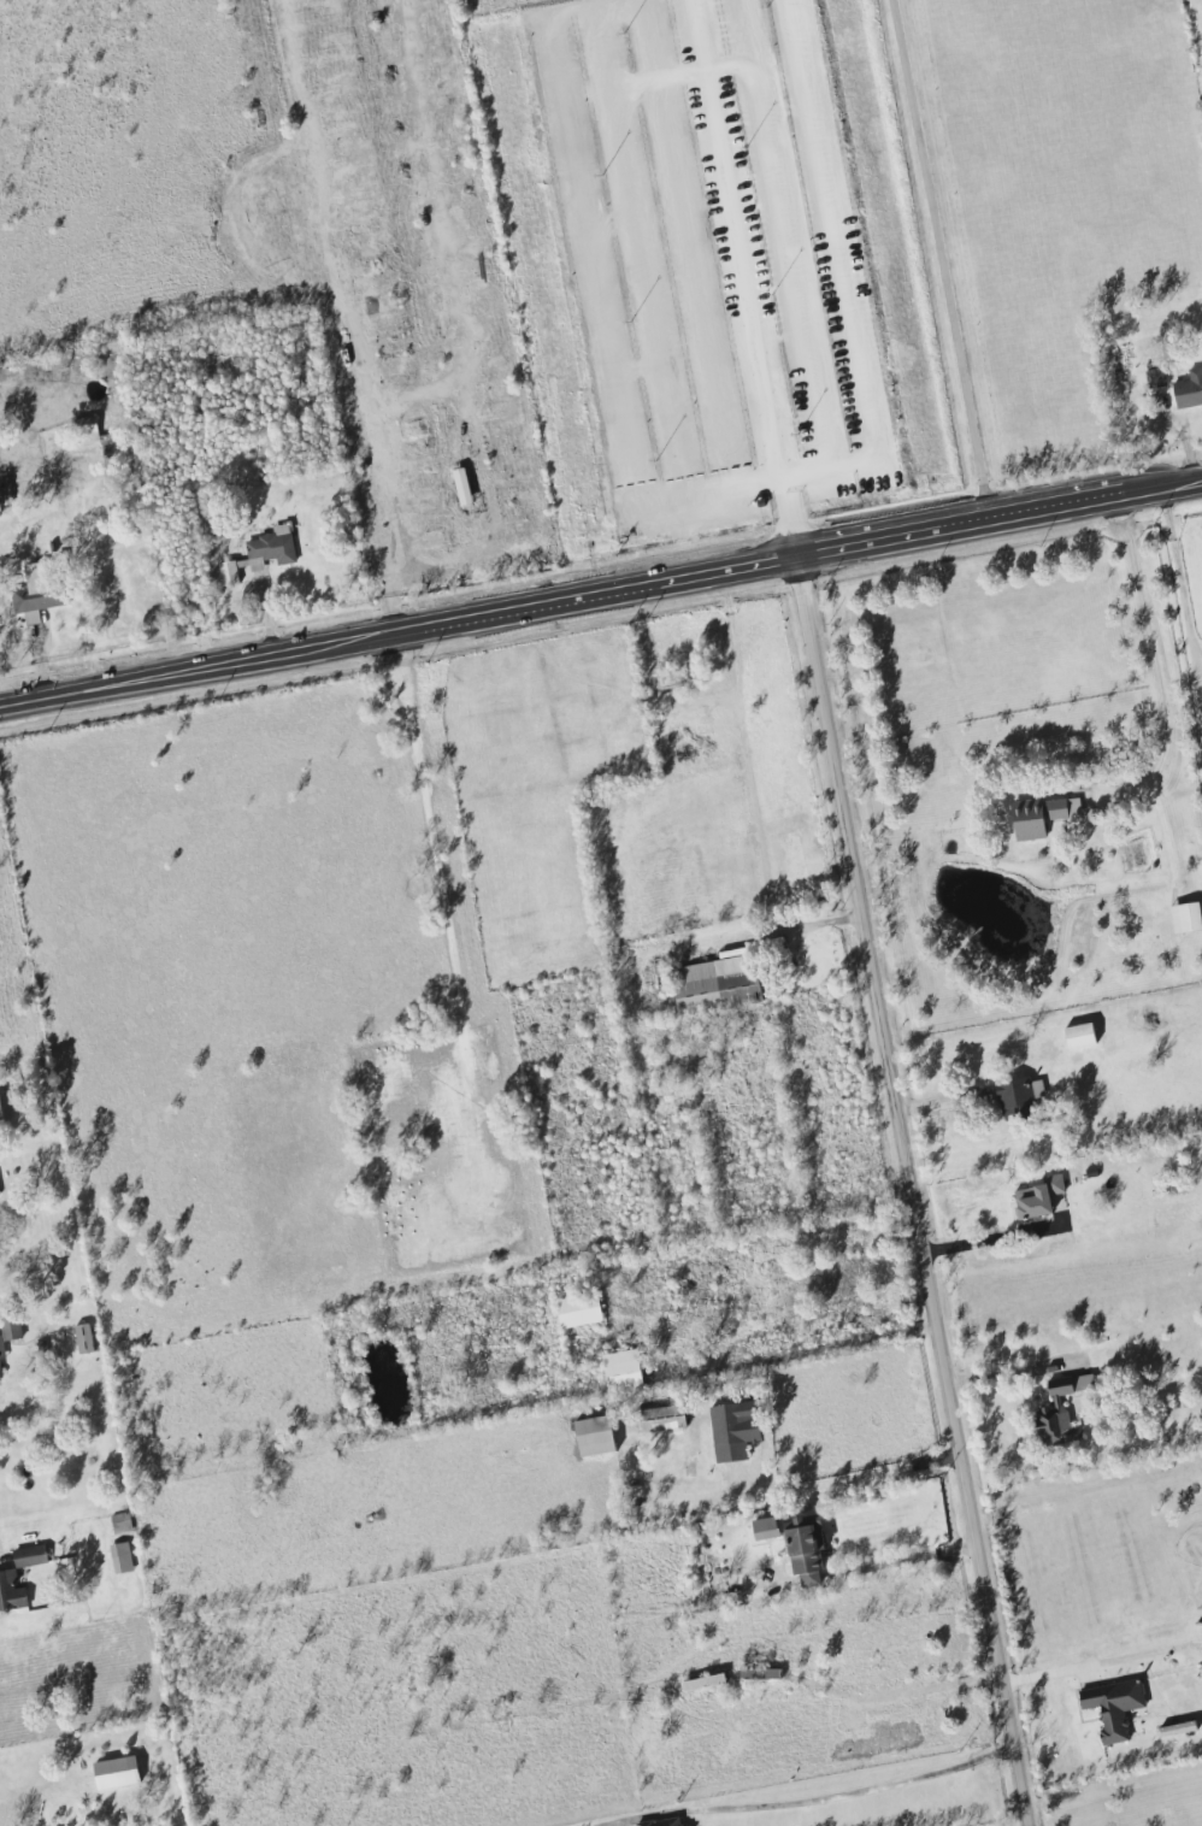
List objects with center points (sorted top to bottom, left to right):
road: (951, 261)
road: (743, 282)
building: (1155, 378)
building: (1189, 389)
building: (82, 430)
building: (461, 487)
road: (394, 514)
building: (259, 555)
road: (1176, 588)
road: (601, 601)
road: (1149, 660)
road: (40, 667)
building: (662, 679)
building: (1201, 690)
building: (1041, 817)
road: (429, 838)
building: (1185, 918)
building: (1079, 1037)
building: (1019, 1097)
building: (0, 1117)
road: (917, 1195)
building: (1037, 1198)
road: (989, 1239)
building: (578, 1312)
building: (83, 1339)
building: (1, 1350)
road: (793, 1356)
building: (621, 1373)
building: (0, 1376)
building: (1059, 1413)
building: (656, 1420)
building: (732, 1431)
building: (594, 1437)
road: (858, 1477)
building: (120, 1524)
building: (766, 1528)
road: (1, 1550)
building: (806, 1550)
building: (29, 1557)
building: (120, 1559)
road: (908, 1560)
building: (10, 1594)
building: (758, 1675)
road: (831, 1687)
building: (1113, 1708)
building: (116, 1773)
road: (861, 1791)
building: (661, 1822)

